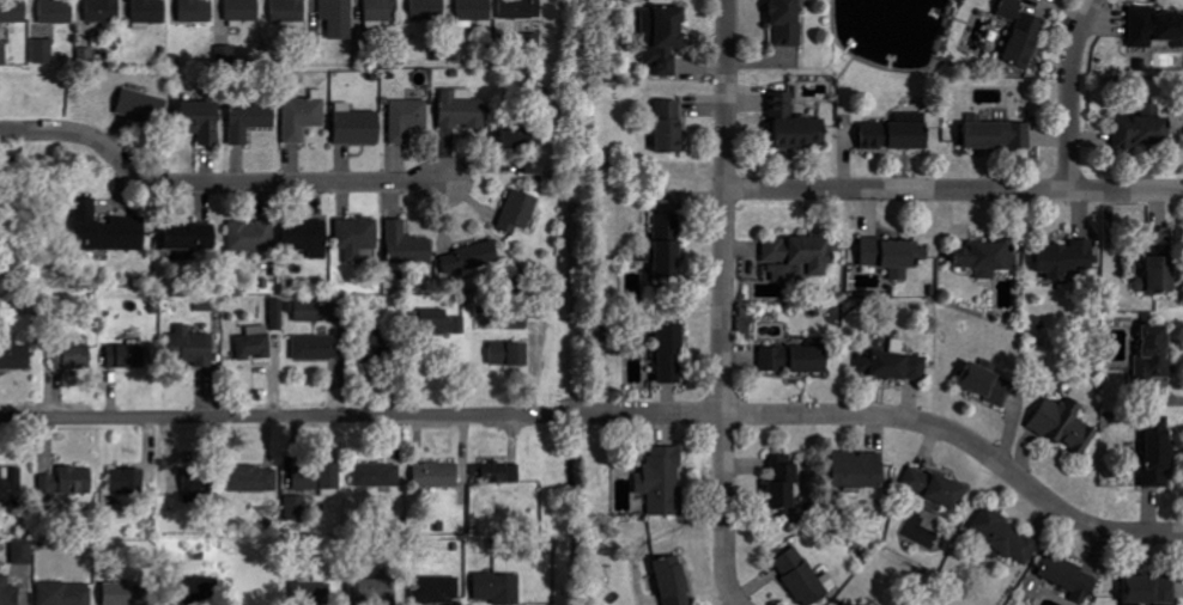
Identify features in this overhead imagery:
building: (427, 8)
building: (522, 8)
building: (104, 10)
building: (244, 10)
building: (382, 10)
building: (475, 10)
building: (13, 11)
building: (57, 11)
building: (151, 11)
building: (198, 11)
building: (291, 11)
building: (339, 18)
building: (788, 23)
building: (1154, 26)
building: (1024, 32)
building: (665, 37)
building: (44, 51)
building: (226, 53)
building: (364, 53)
building: (86, 55)
road: (1069, 92)
building: (146, 106)
building: (463, 109)
building: (304, 117)
building: (408, 118)
building: (251, 120)
building: (205, 121)
building: (359, 126)
building: (671, 126)
building: (796, 126)
building: (1145, 130)
building: (899, 133)
building: (1001, 135)
building: (523, 137)
building: (538, 170)
road: (212, 184)
road: (897, 190)
road: (1126, 191)
building: (520, 210)
building: (110, 228)
building: (253, 236)
building: (194, 237)
building: (310, 237)
building: (358, 237)
building: (1164, 237)
building: (408, 245)
building: (671, 245)
building: (194, 255)
building: (800, 257)
building: (988, 257)
building: (1068, 257)
building: (473, 259)
building: (1160, 276)
road: (723, 292)
building: (308, 311)
building: (278, 313)
building: (518, 320)
building: (442, 324)
building: (255, 343)
building: (193, 347)
building: (318, 348)
building: (376, 348)
building: (511, 353)
building: (673, 353)
building: (14, 354)
building: (1155, 355)
building: (73, 356)
building: (128, 356)
building: (797, 357)
building: (893, 365)
building: (988, 383)
road: (607, 415)
building: (1067, 424)
building: (1160, 454)
building: (861, 470)
building: (499, 472)
building: (378, 475)
building: (438, 475)
building: (317, 477)
building: (253, 479)
building: (69, 481)
building: (128, 481)
building: (665, 481)
building: (785, 482)
building: (12, 485)
building: (200, 487)
building: (936, 487)
building: (295, 507)
building: (1009, 537)
building: (24, 551)
building: (803, 576)
building: (1072, 577)
building: (675, 581)
building: (499, 588)
building: (201, 589)
building: (1152, 589)
building: (374, 591)
building: (437, 591)
building: (10, 592)
building: (66, 593)
building: (313, 593)
building: (128, 594)
road: (733, 594)
building: (849, 604)

